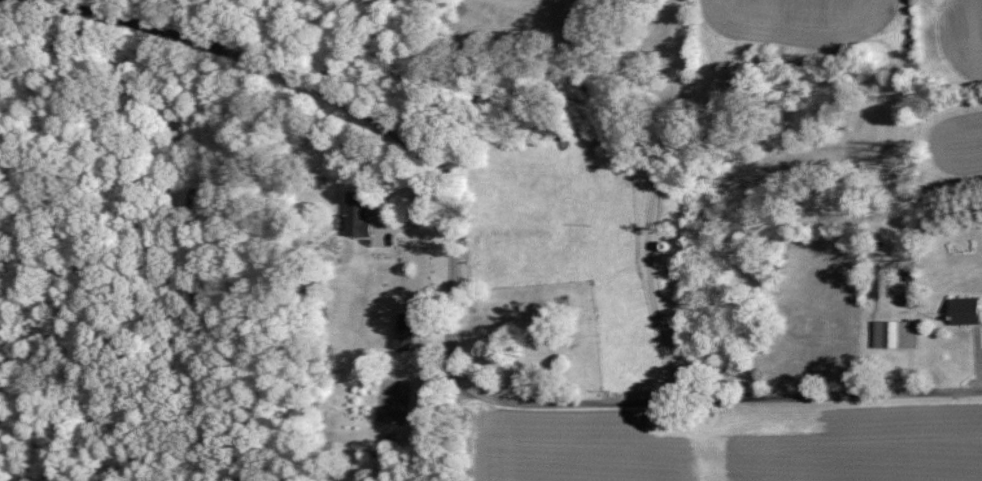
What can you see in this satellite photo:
road: (662, 201)
building: (356, 215)
building: (964, 311)
road: (450, 321)
building: (404, 331)
building: (893, 335)
road: (447, 428)

